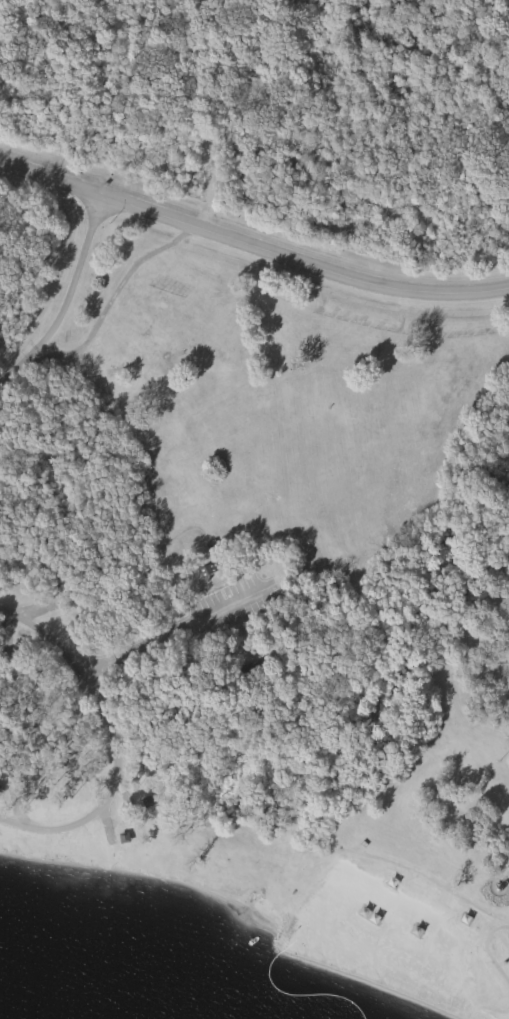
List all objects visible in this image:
road: (252, 245)
road: (118, 295)
road: (70, 306)
park: (262, 466)
building: (214, 571)
road: (176, 633)
road: (117, 744)

